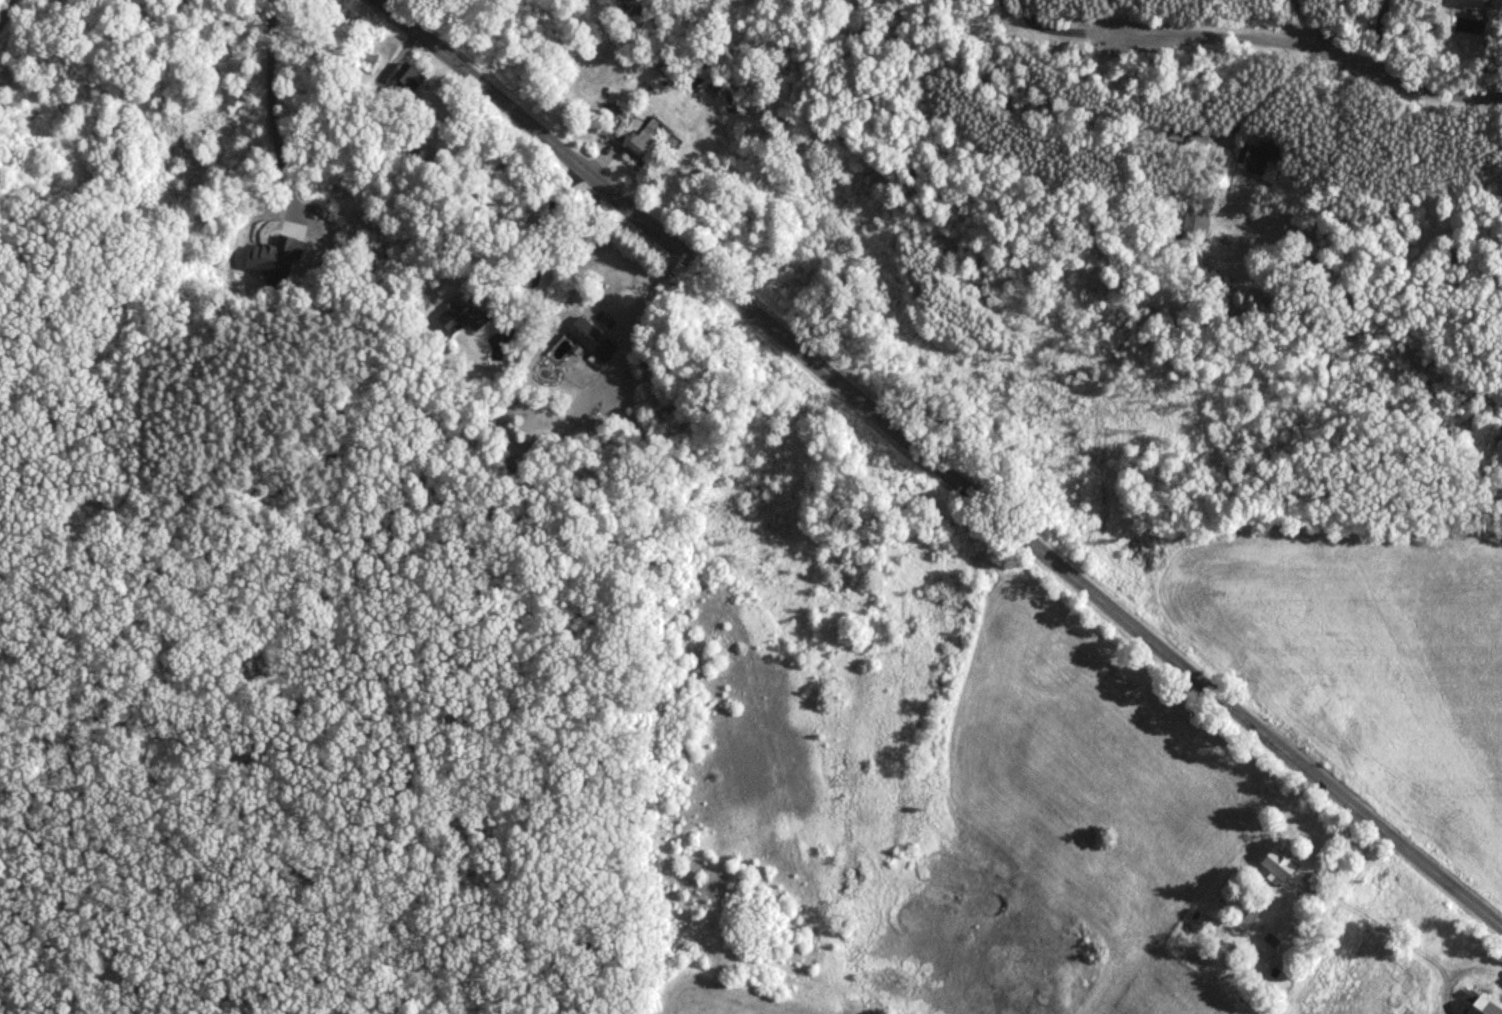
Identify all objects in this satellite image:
building: (1463, 3)
road: (16, 23)
road: (1300, 50)
building: (408, 81)
road: (270, 106)
building: (640, 147)
building: (1253, 158)
building: (1182, 224)
road: (540, 253)
road: (646, 292)
building: (460, 316)
building: (590, 339)
road: (938, 465)
building: (1276, 866)
building: (1277, 932)
building: (1481, 1007)

